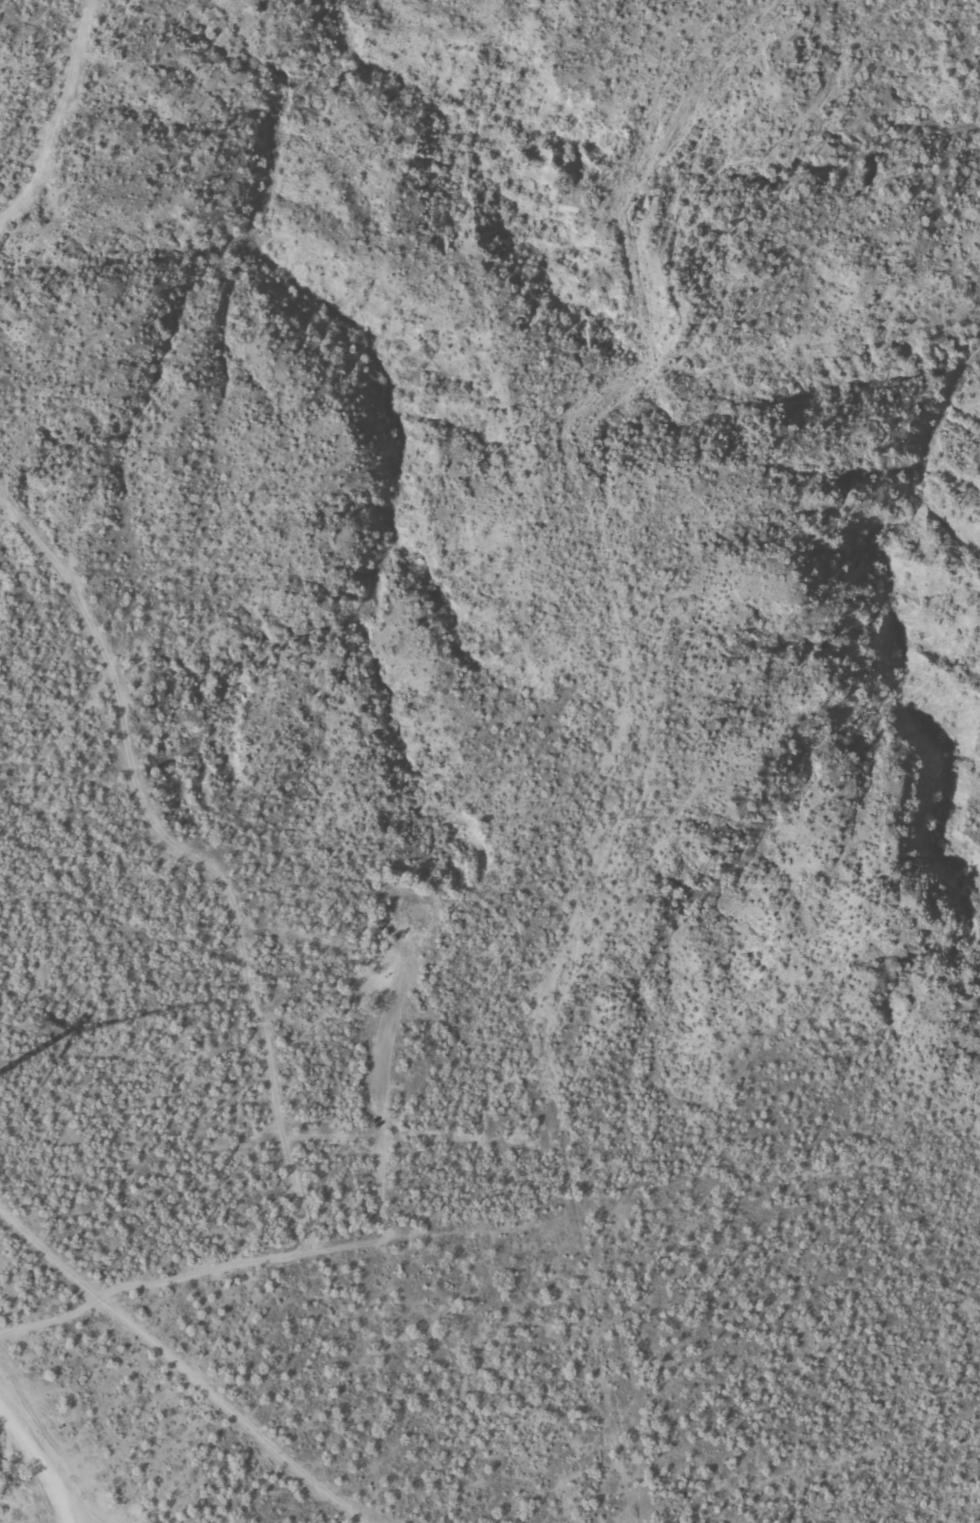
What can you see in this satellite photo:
road: (618, 742)
road: (31, 1477)

